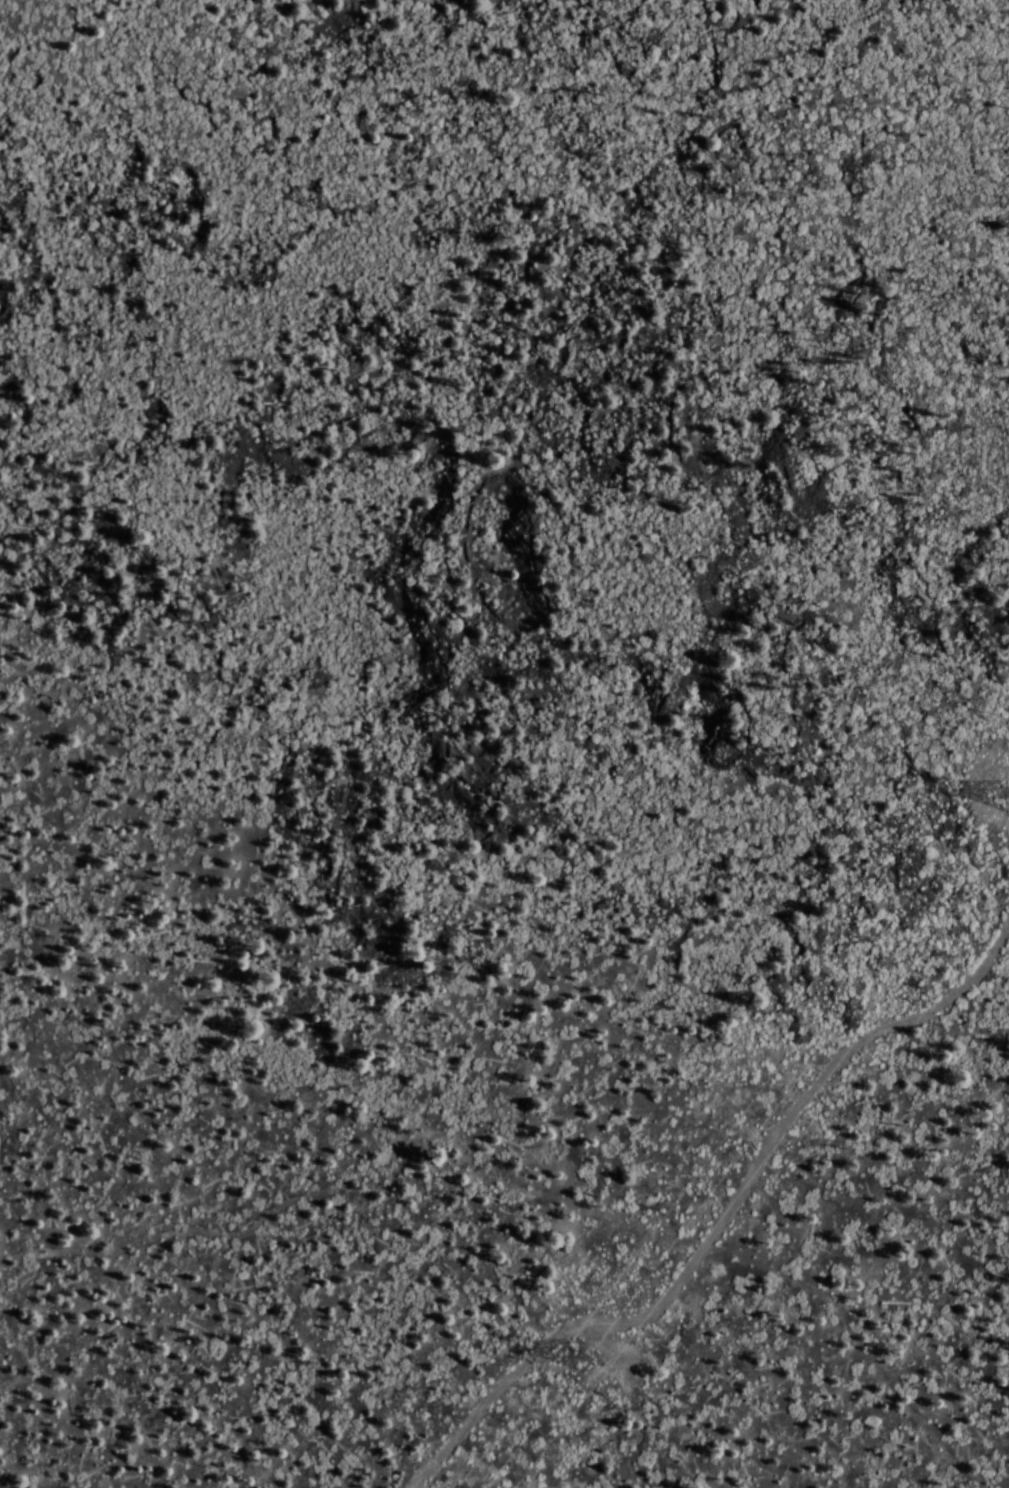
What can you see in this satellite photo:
power tower: (593, 1356)

